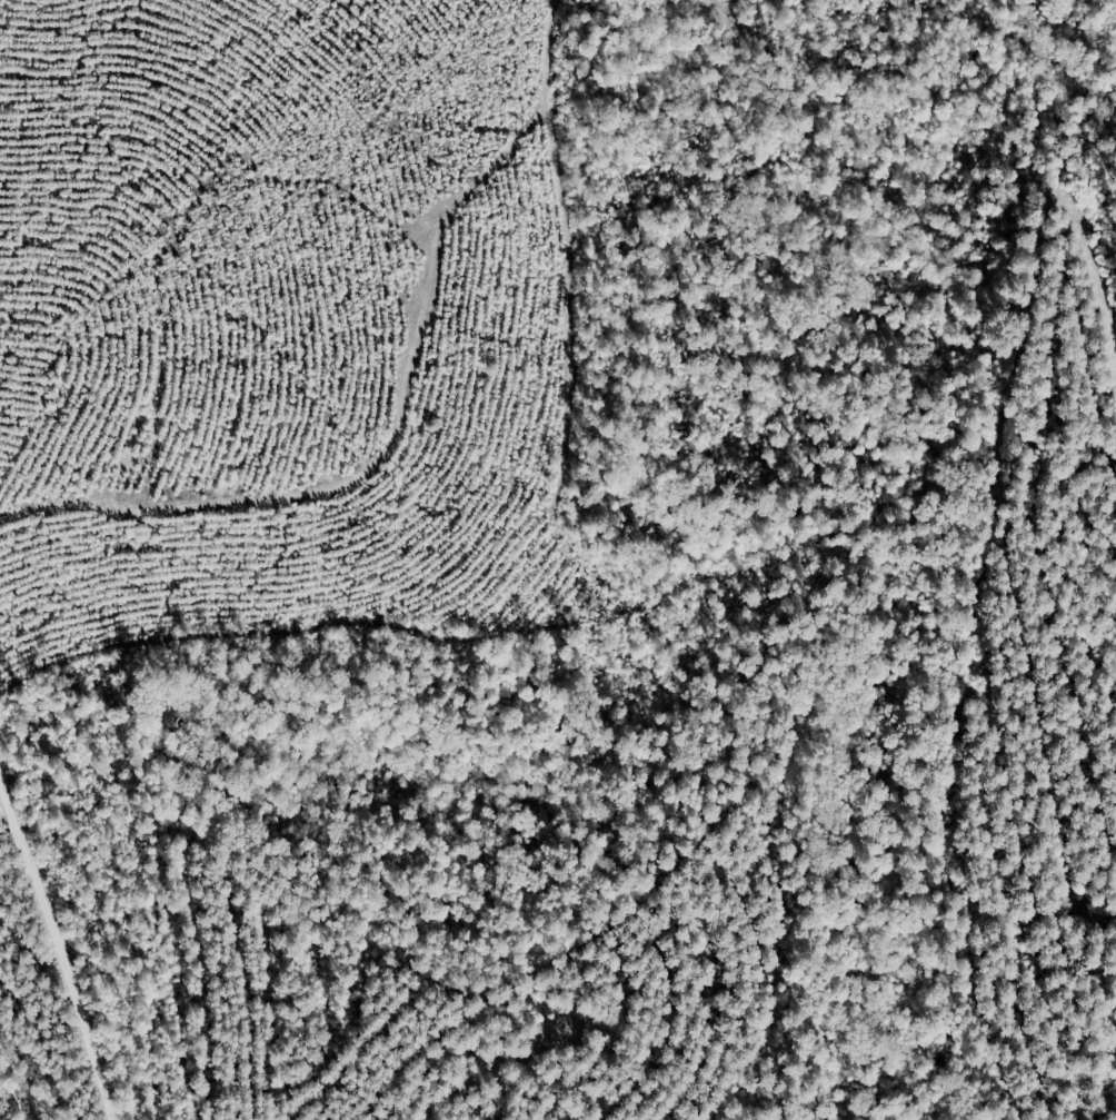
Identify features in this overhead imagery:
road: (60, 948)

